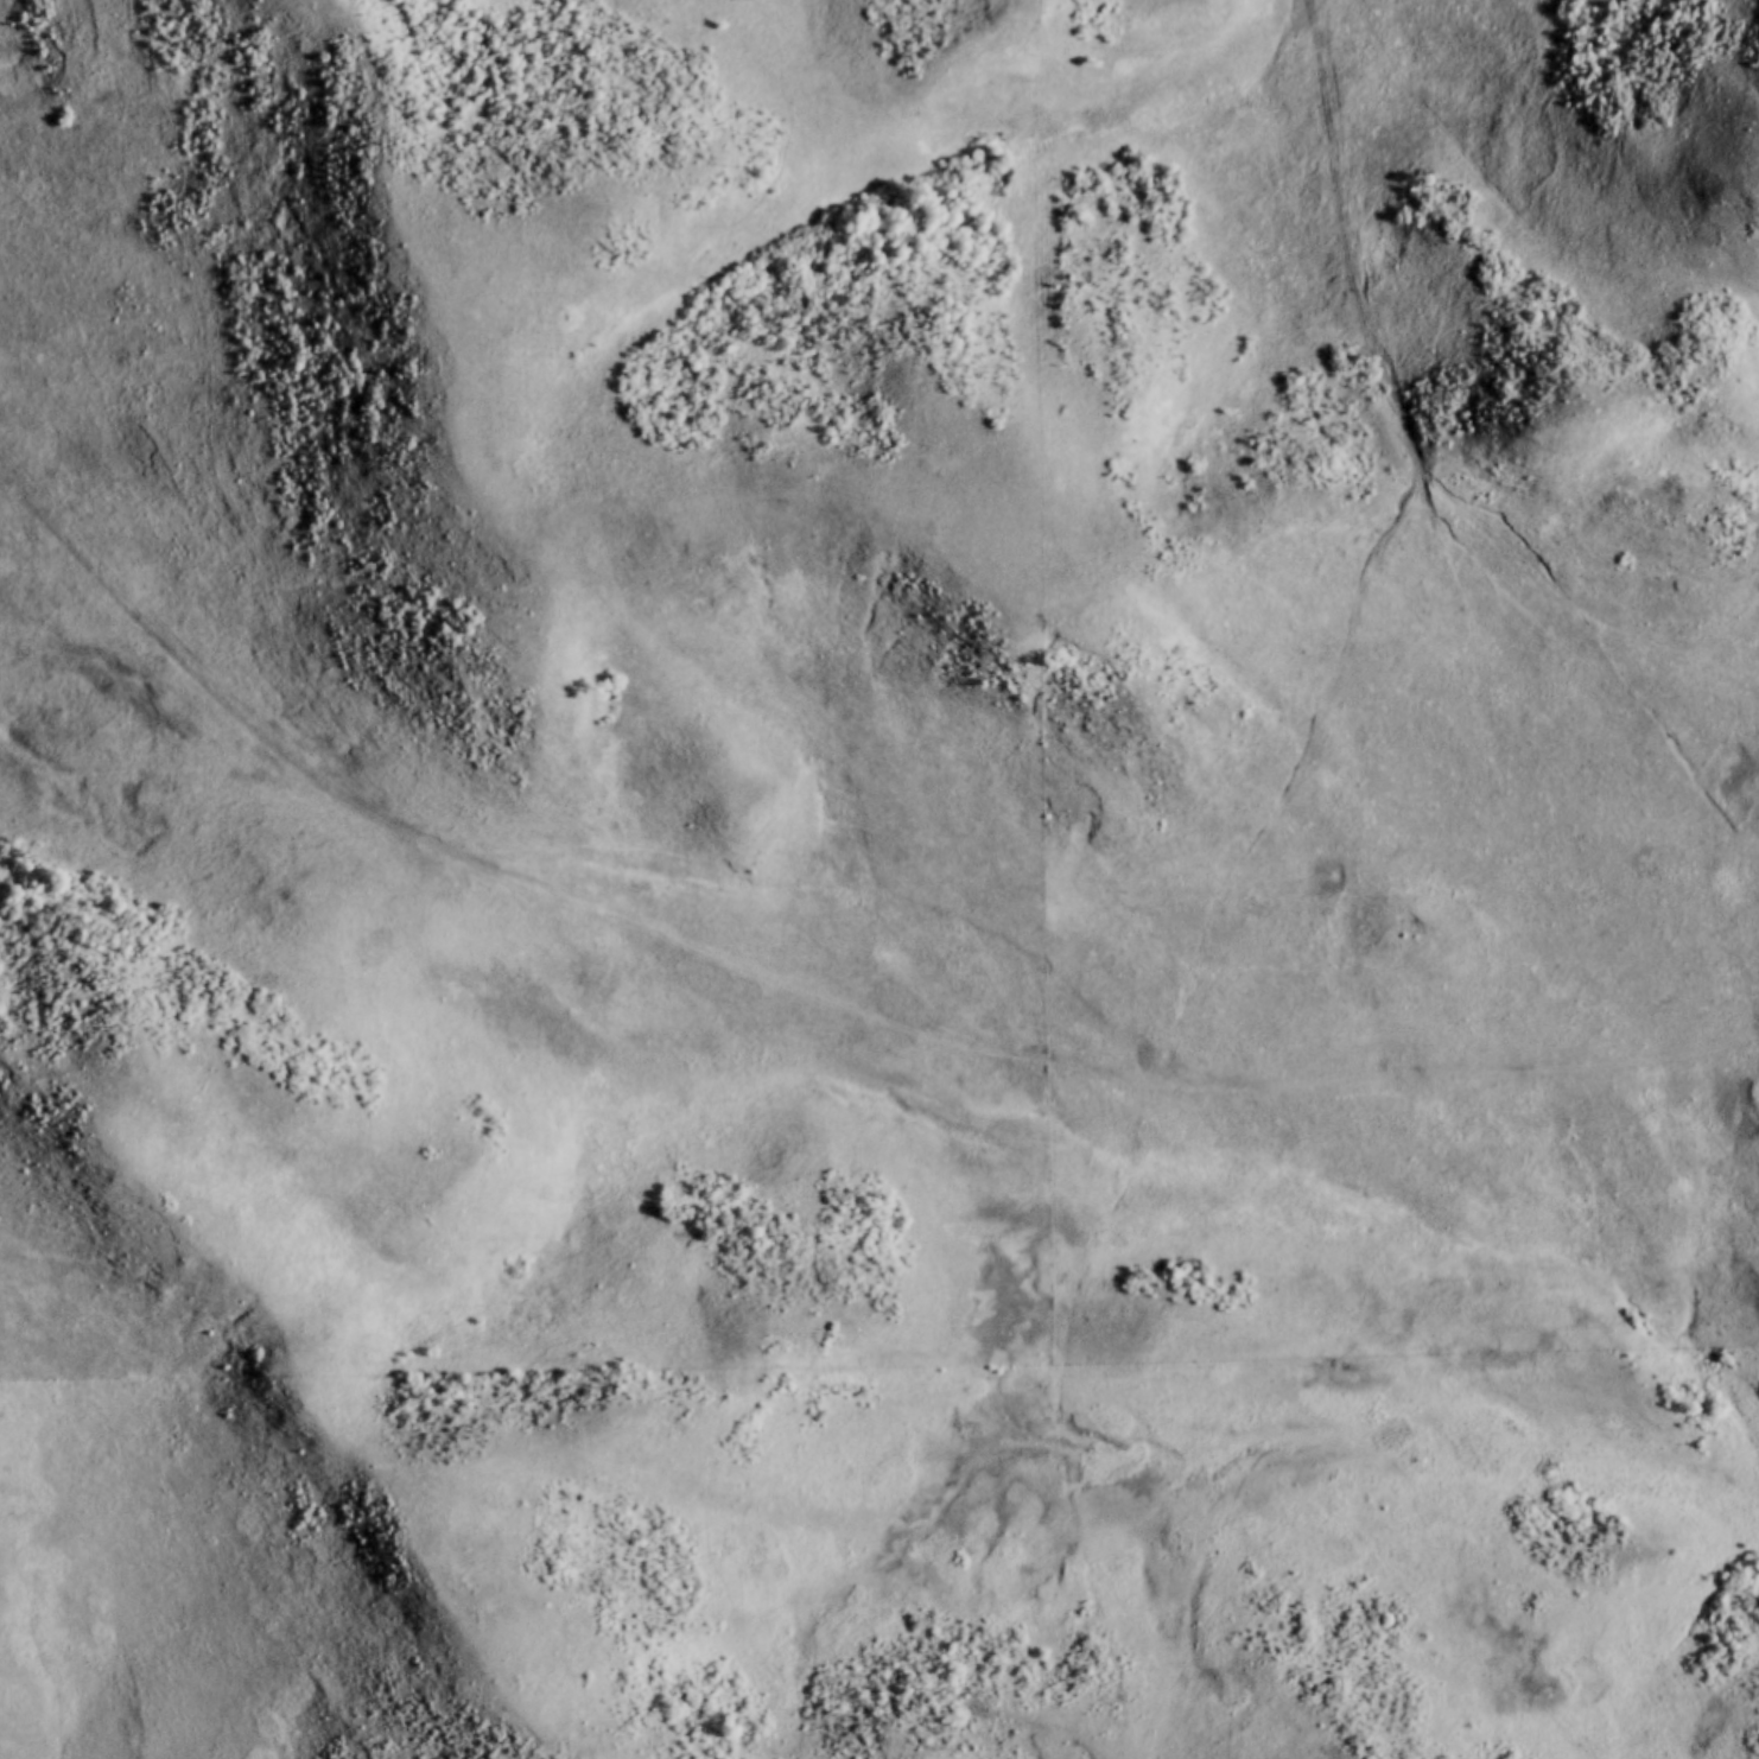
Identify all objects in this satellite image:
road: (983, 1052)

